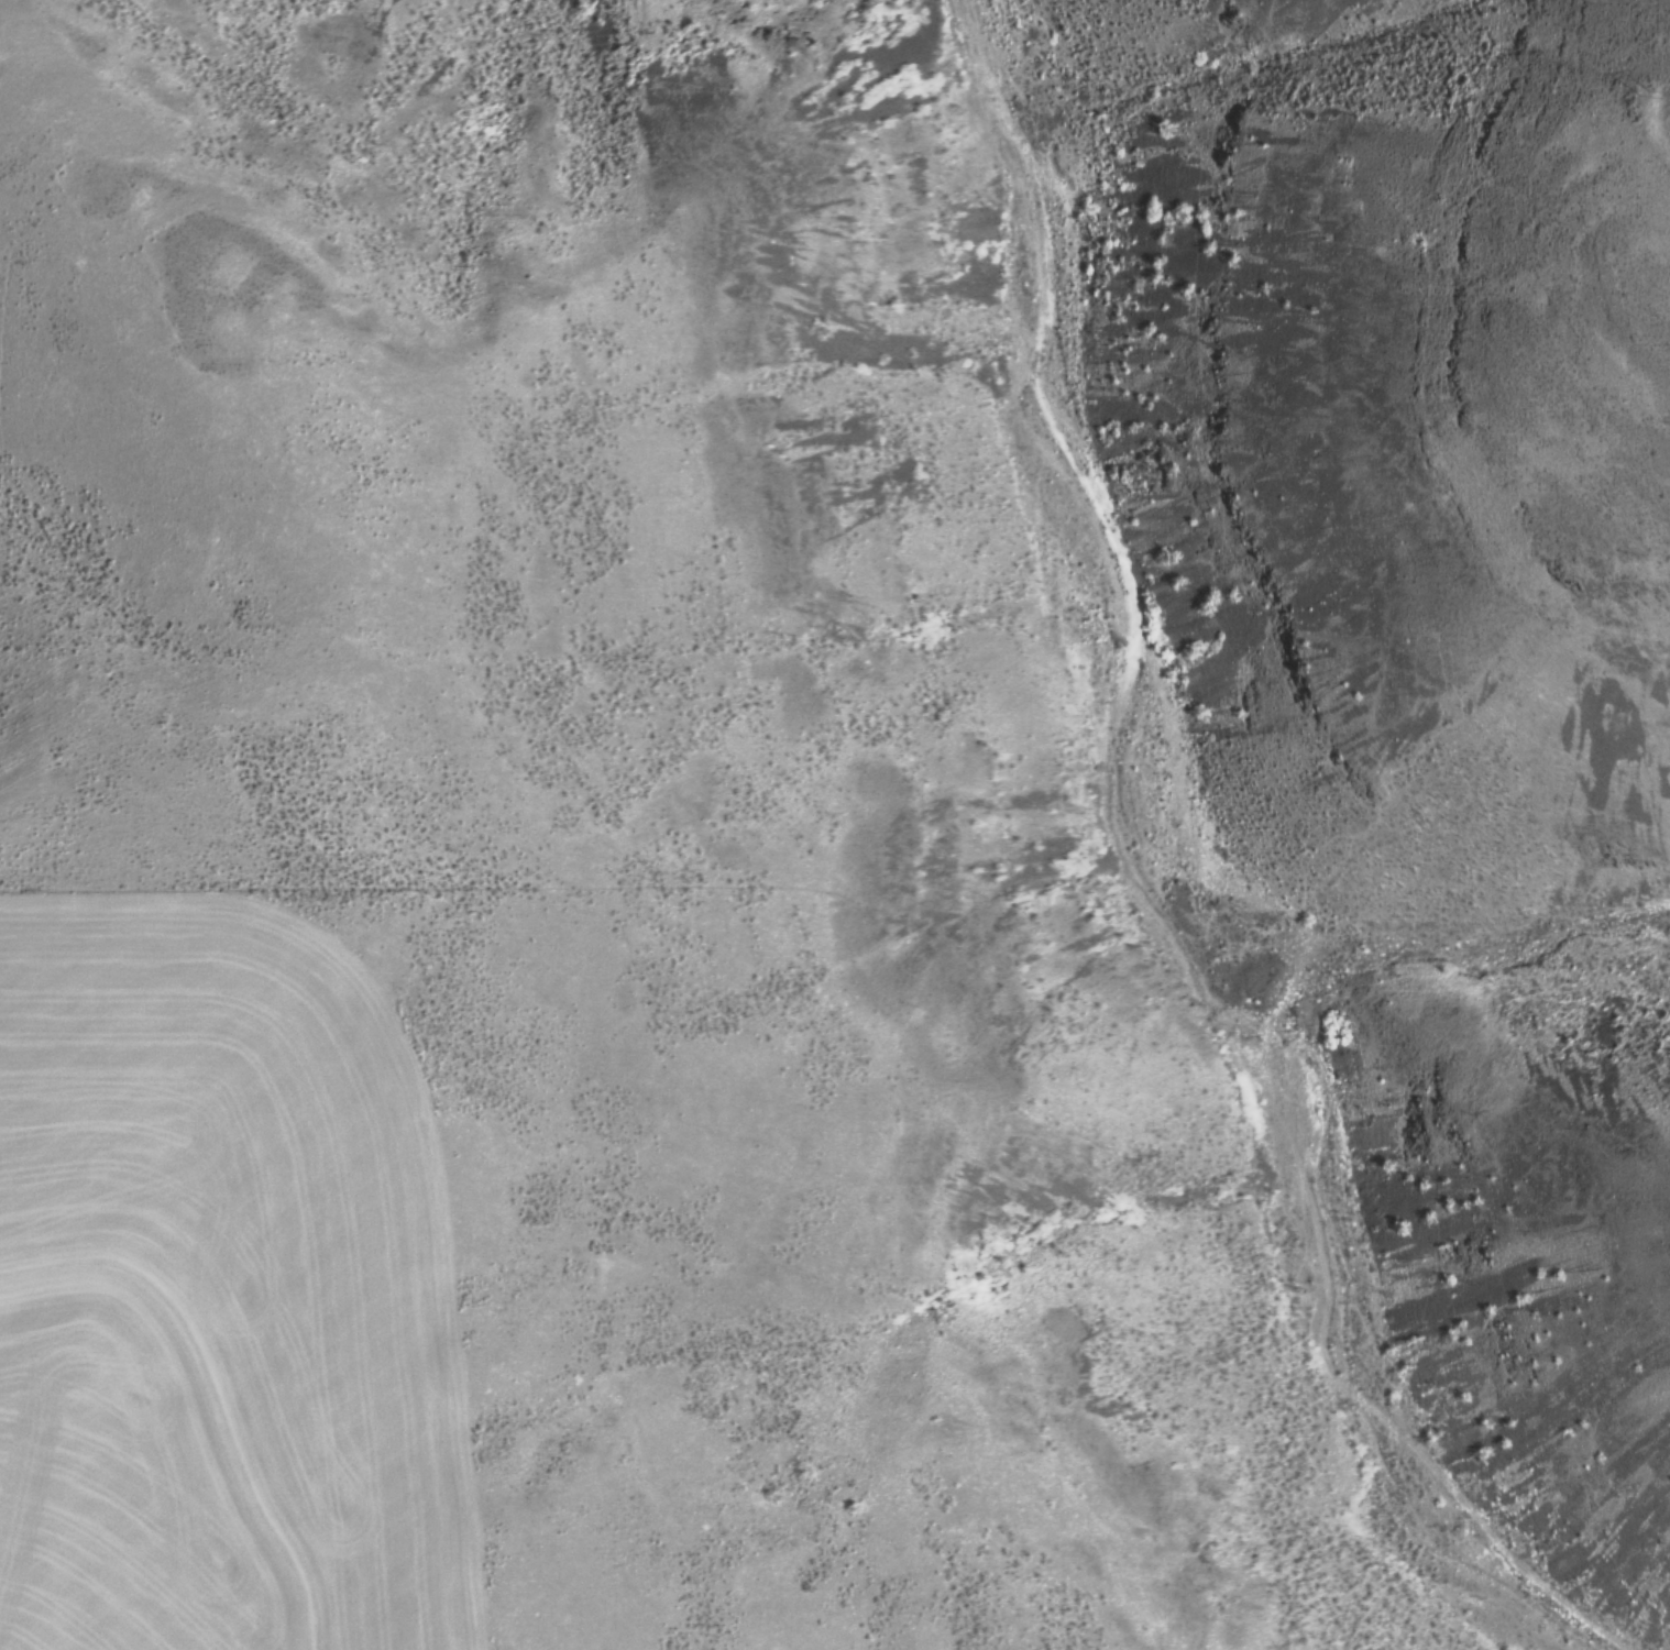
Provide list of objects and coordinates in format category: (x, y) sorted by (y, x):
power tower: (1644, 92)

